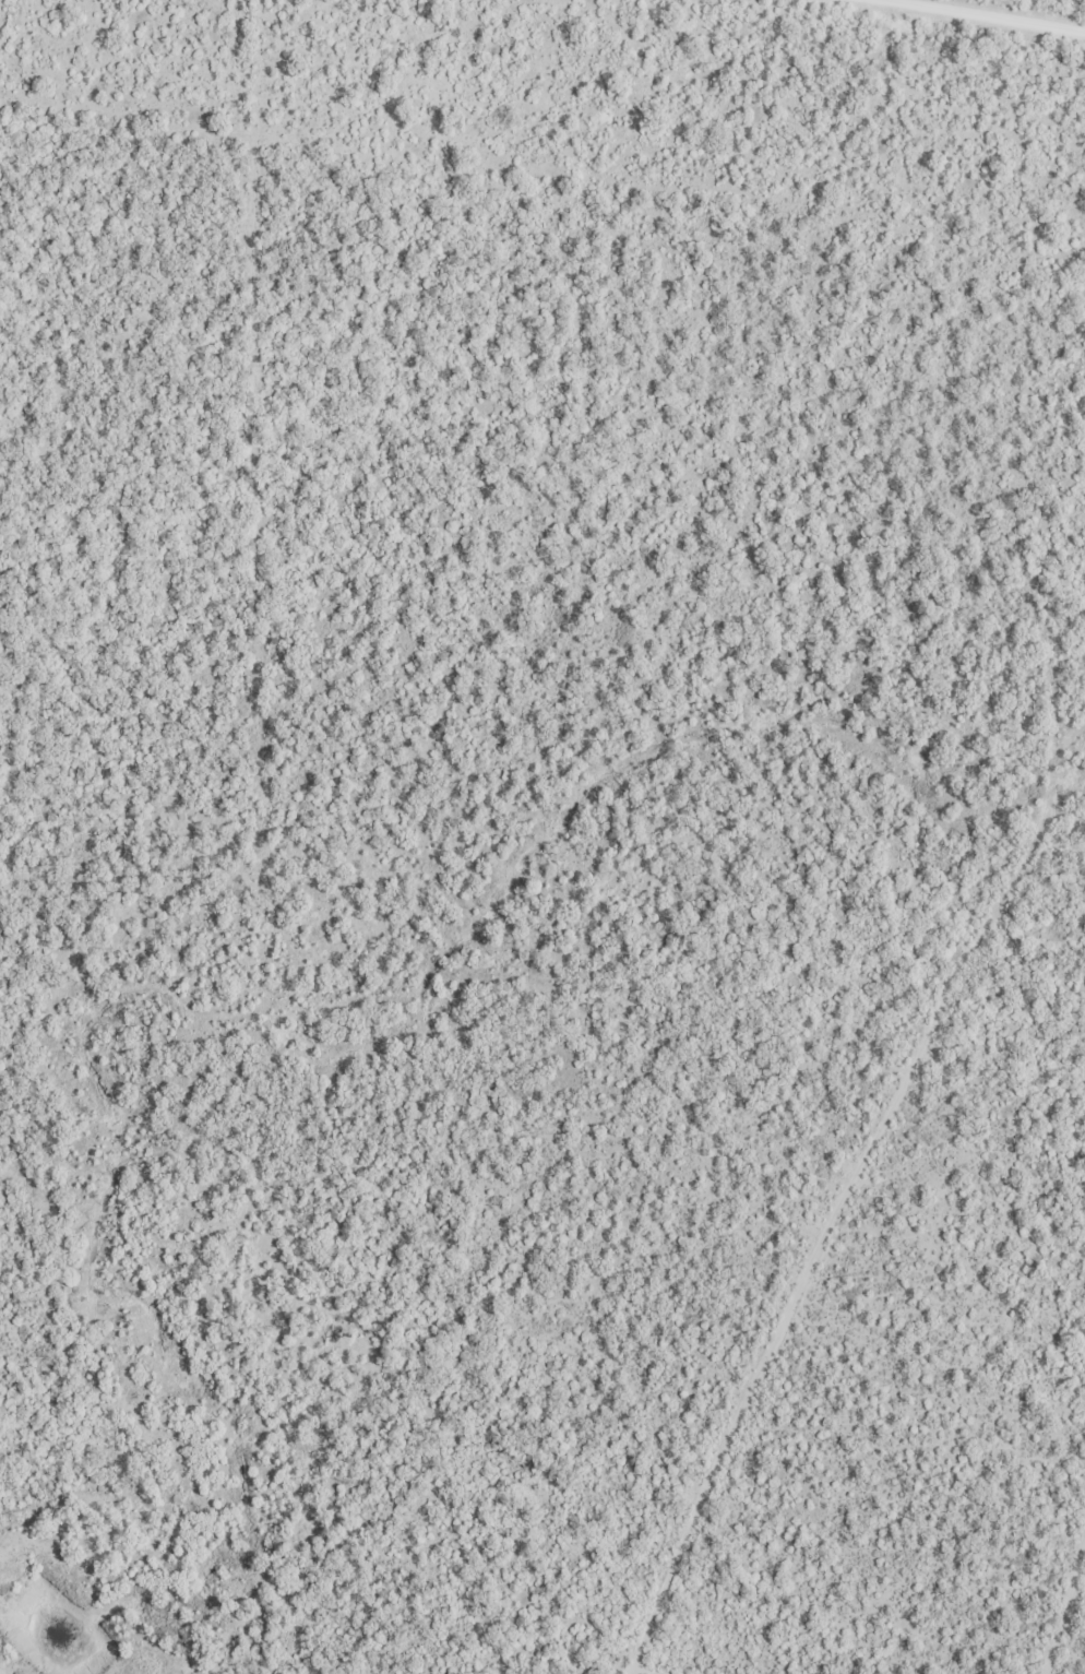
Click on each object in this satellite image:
road: (988, 13)

